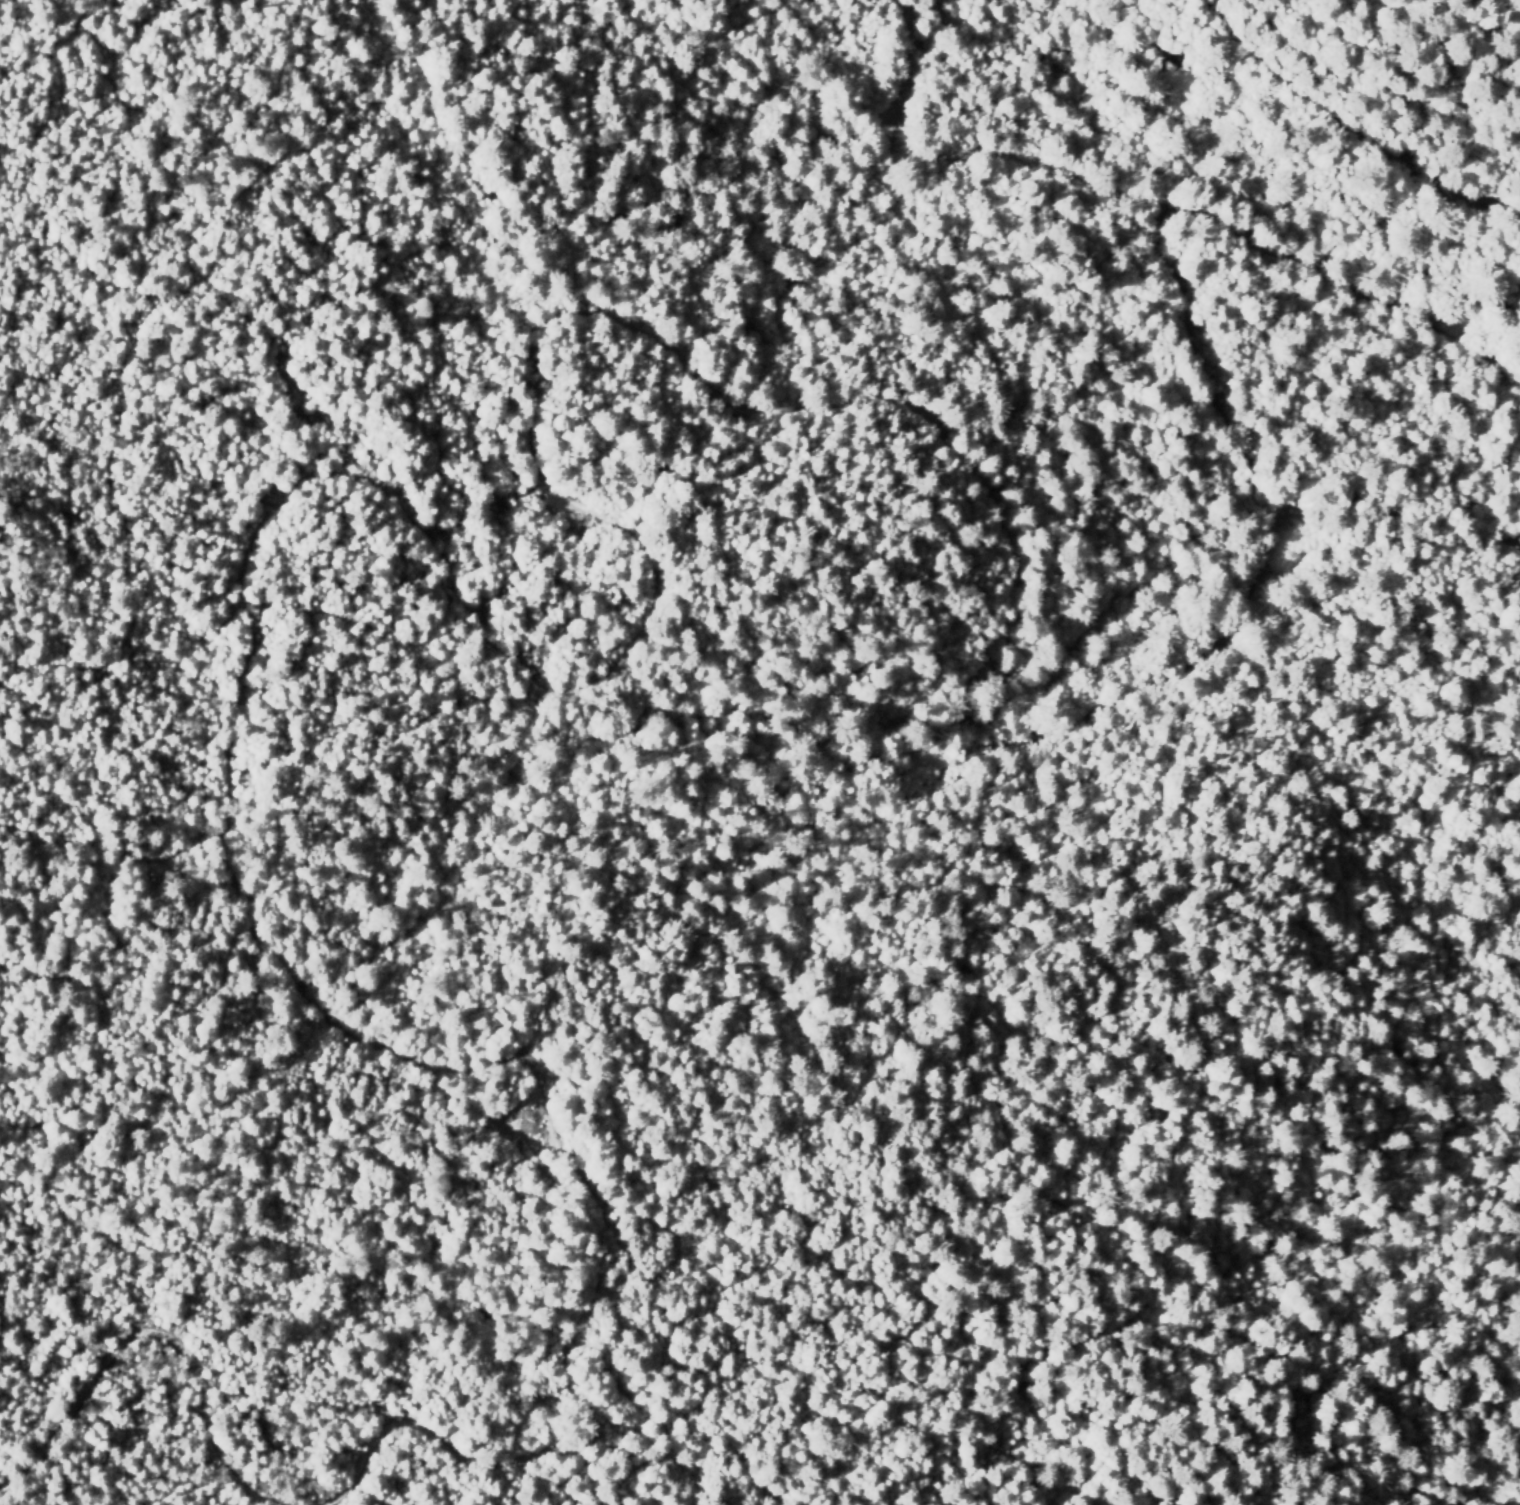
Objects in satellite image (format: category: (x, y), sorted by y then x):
road: (1360, 126)
road: (1196, 1335)

